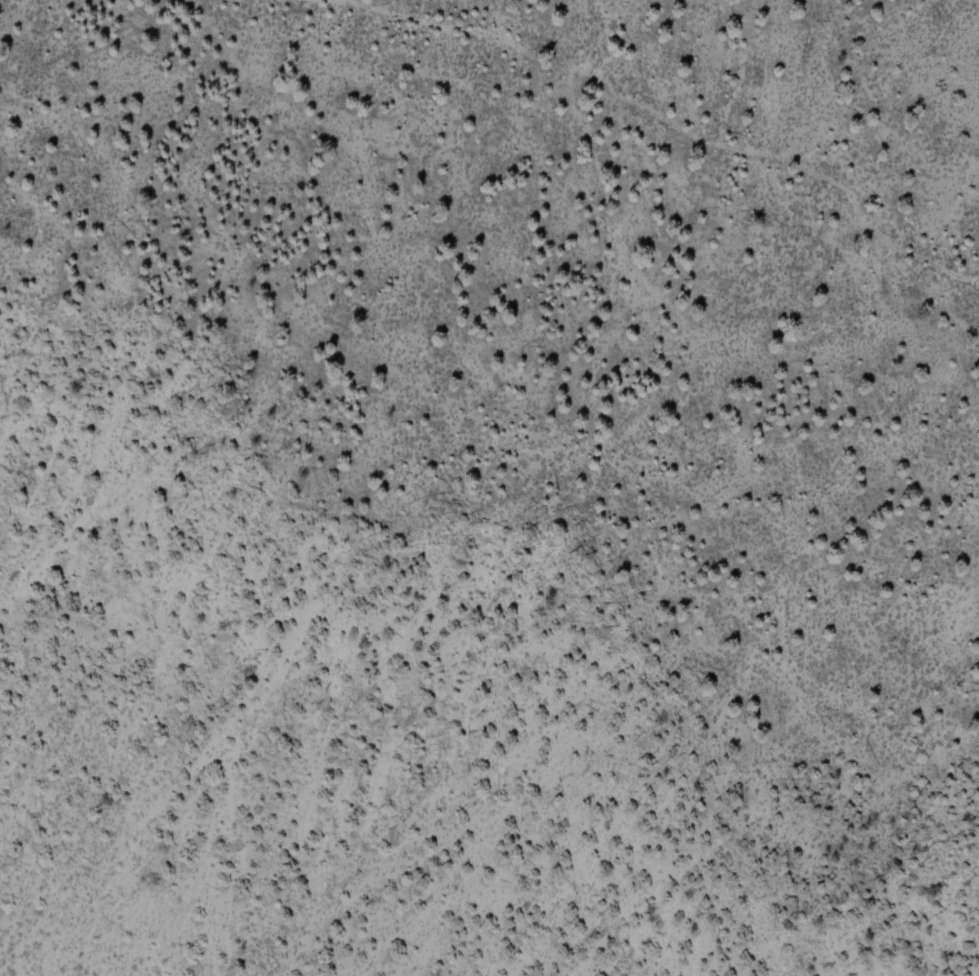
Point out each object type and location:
road: (405, 21)

